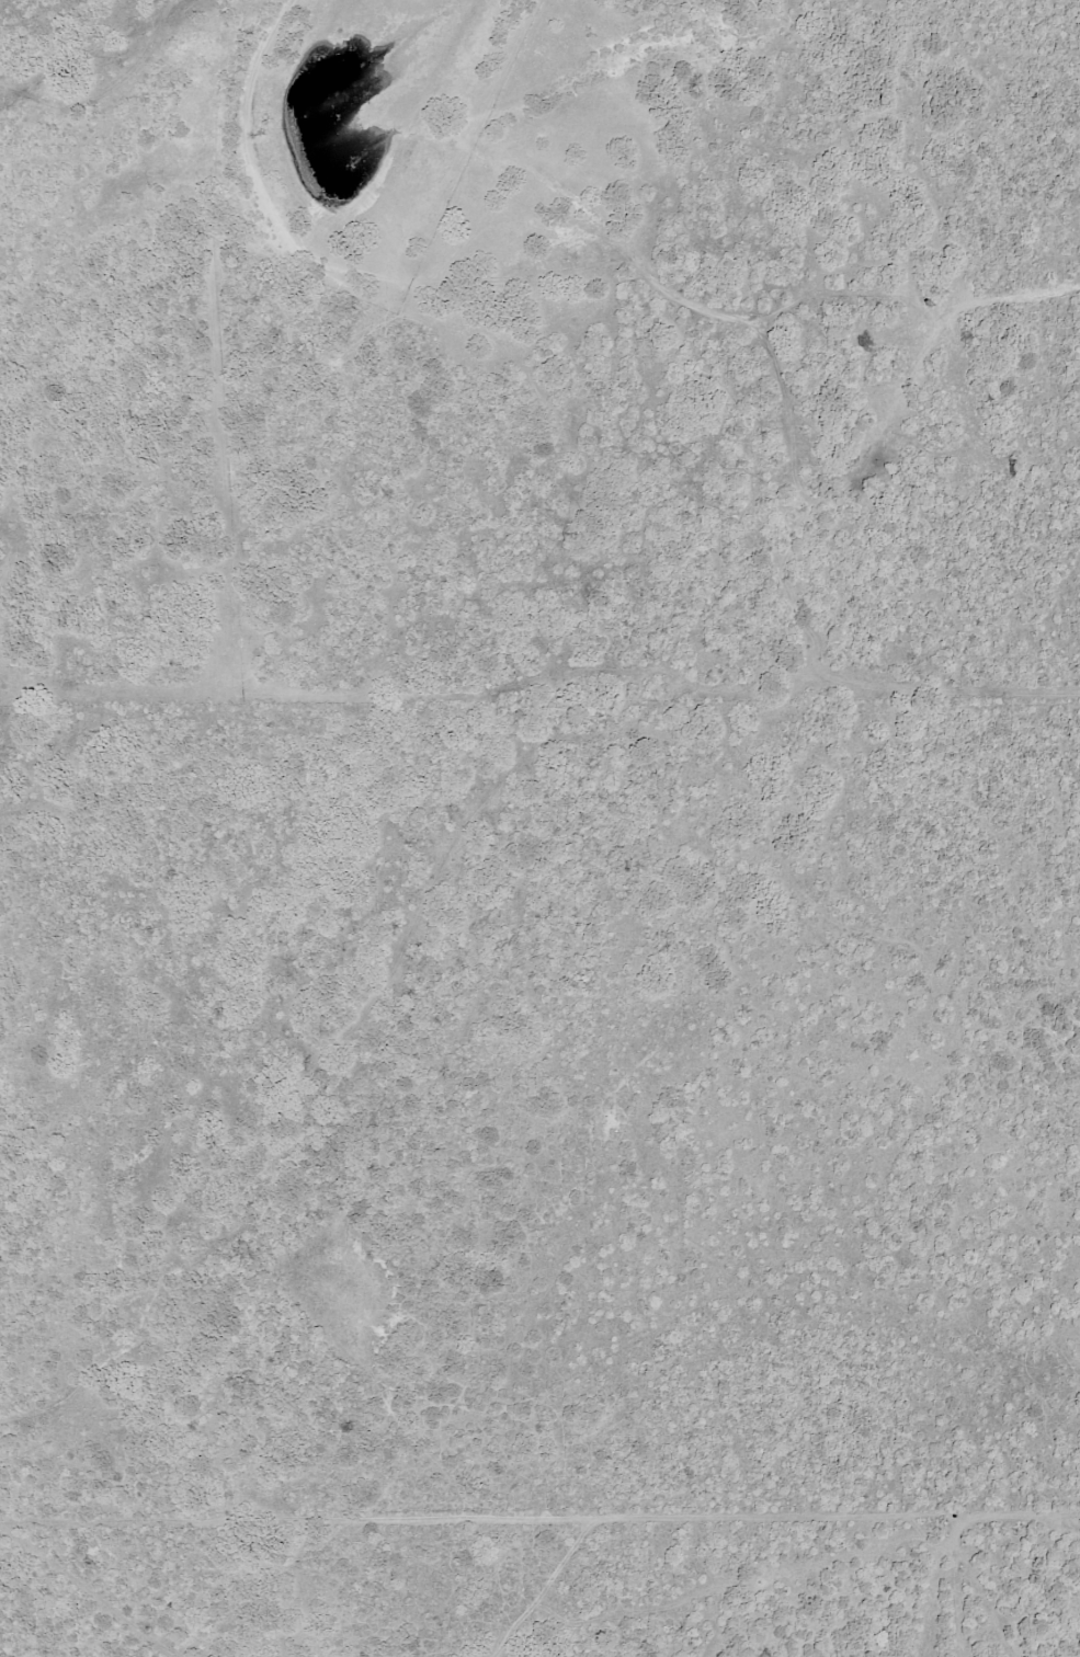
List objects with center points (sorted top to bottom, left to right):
road: (65, 45)
road: (468, 845)

